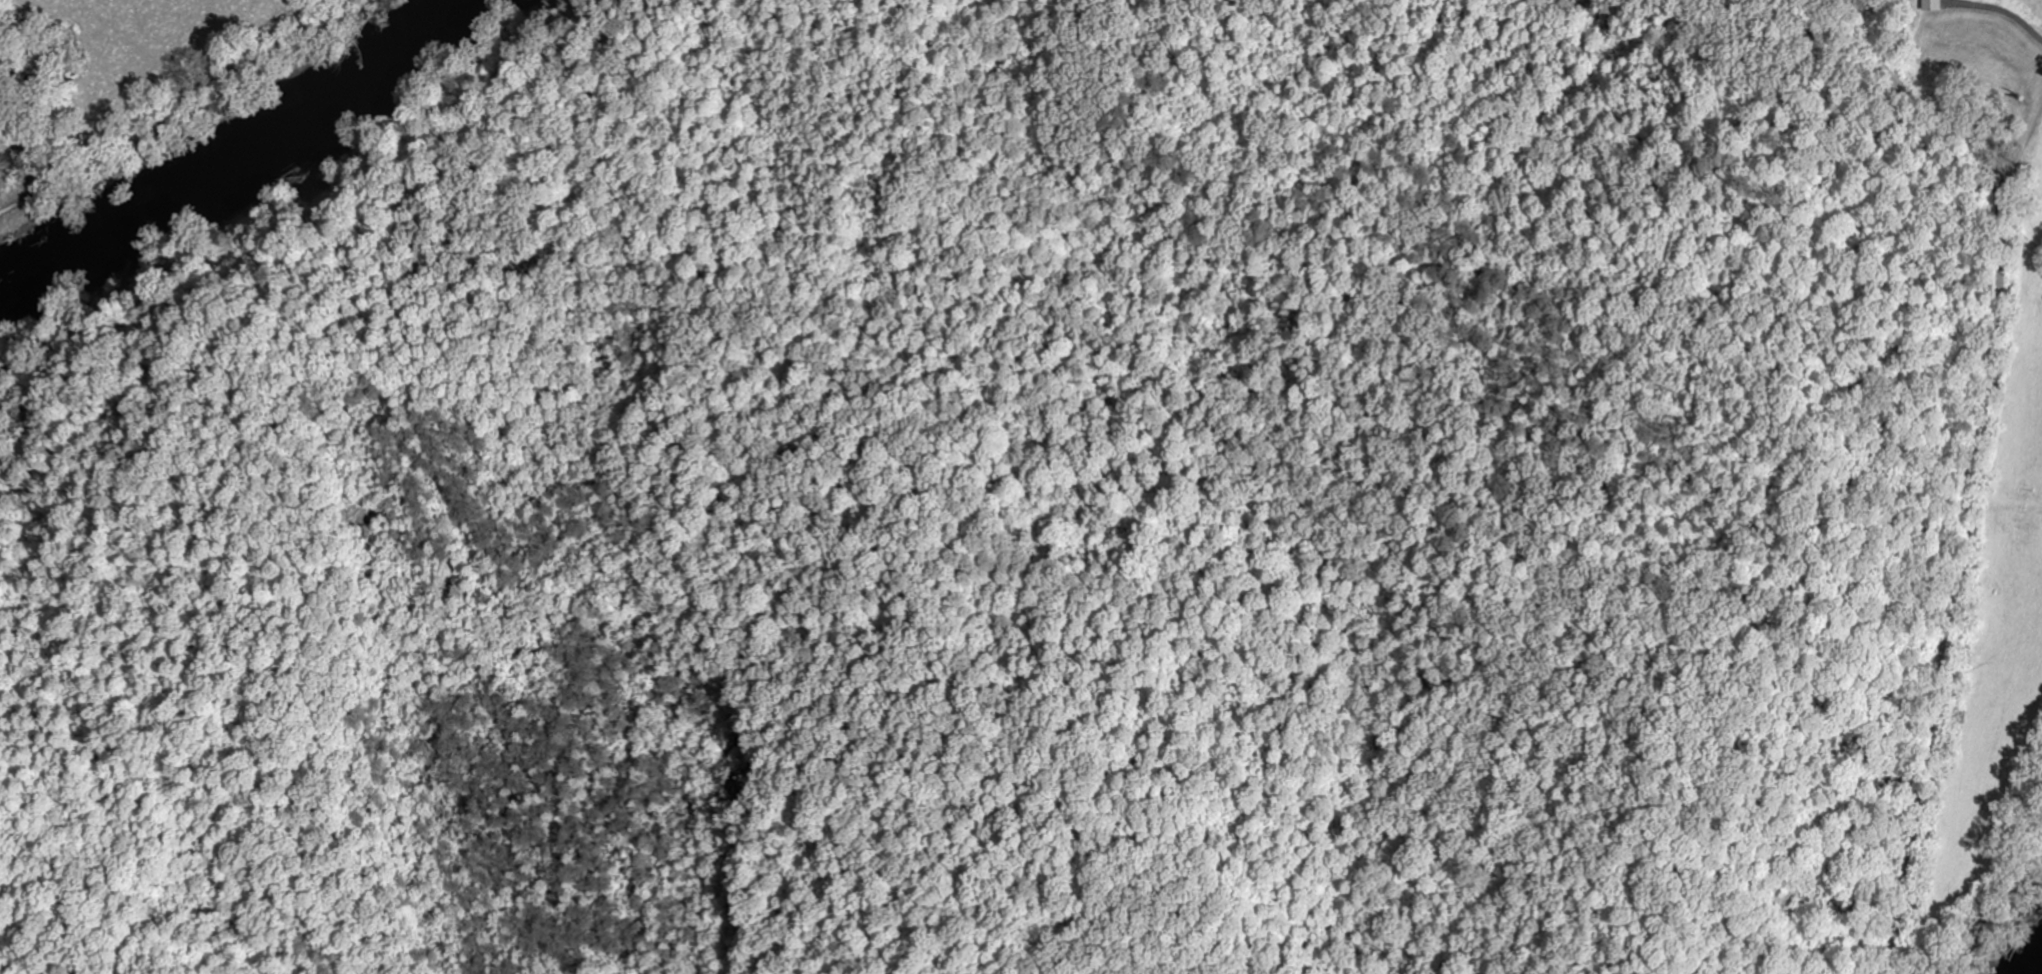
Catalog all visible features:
building: (1931, 5)
road: (1896, 76)
river: (257, 176)
road: (1958, 540)
river: (2023, 949)

